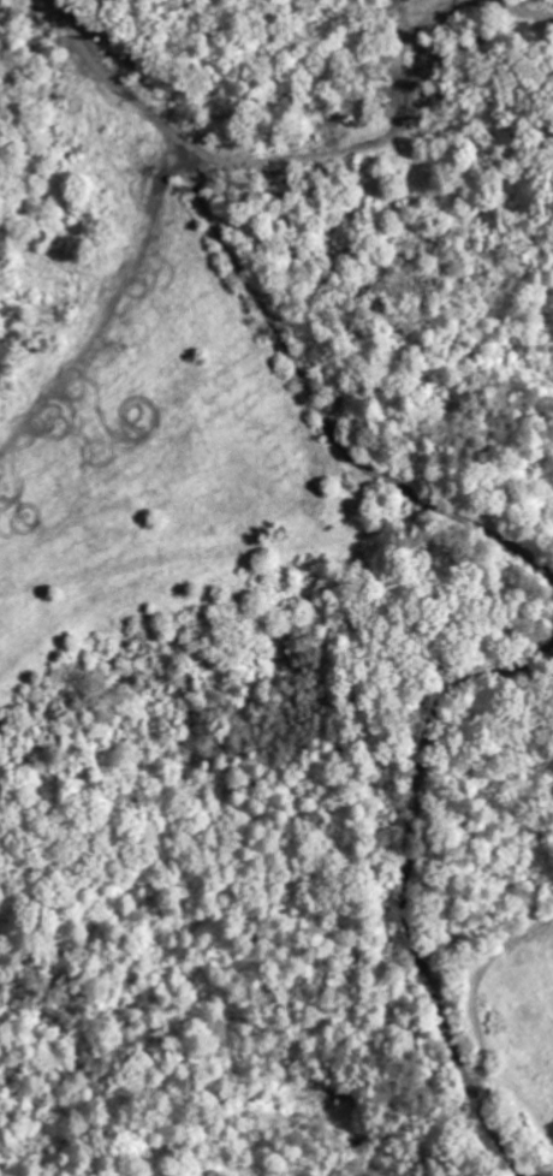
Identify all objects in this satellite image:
road: (493, 1065)

